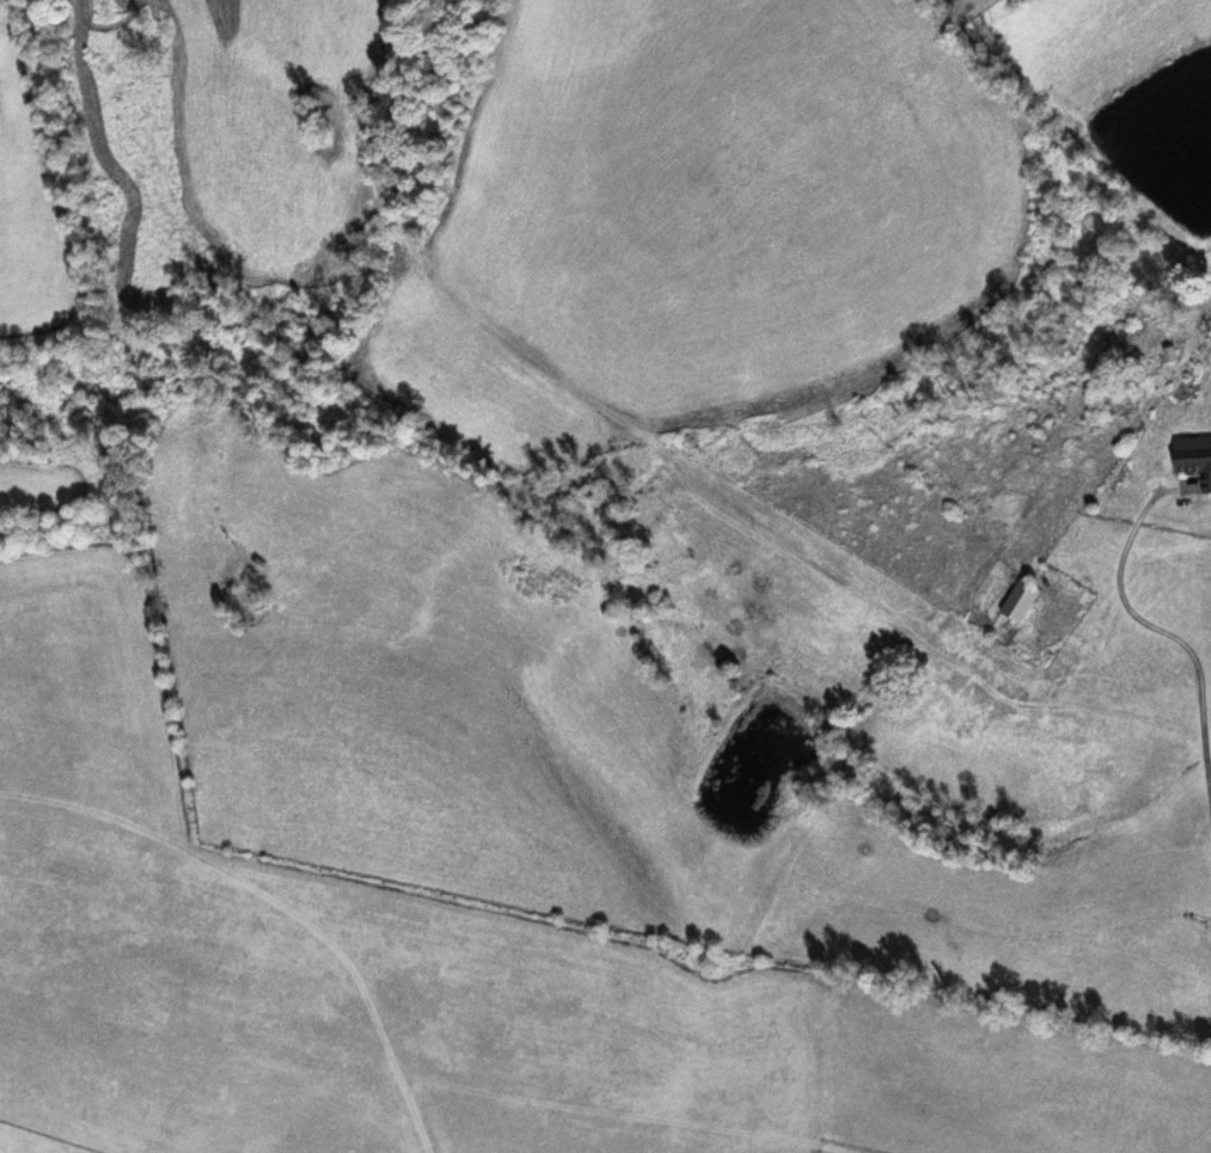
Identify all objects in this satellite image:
building: (1194, 459)
building: (1021, 601)
road: (1197, 603)
road: (1120, 736)

